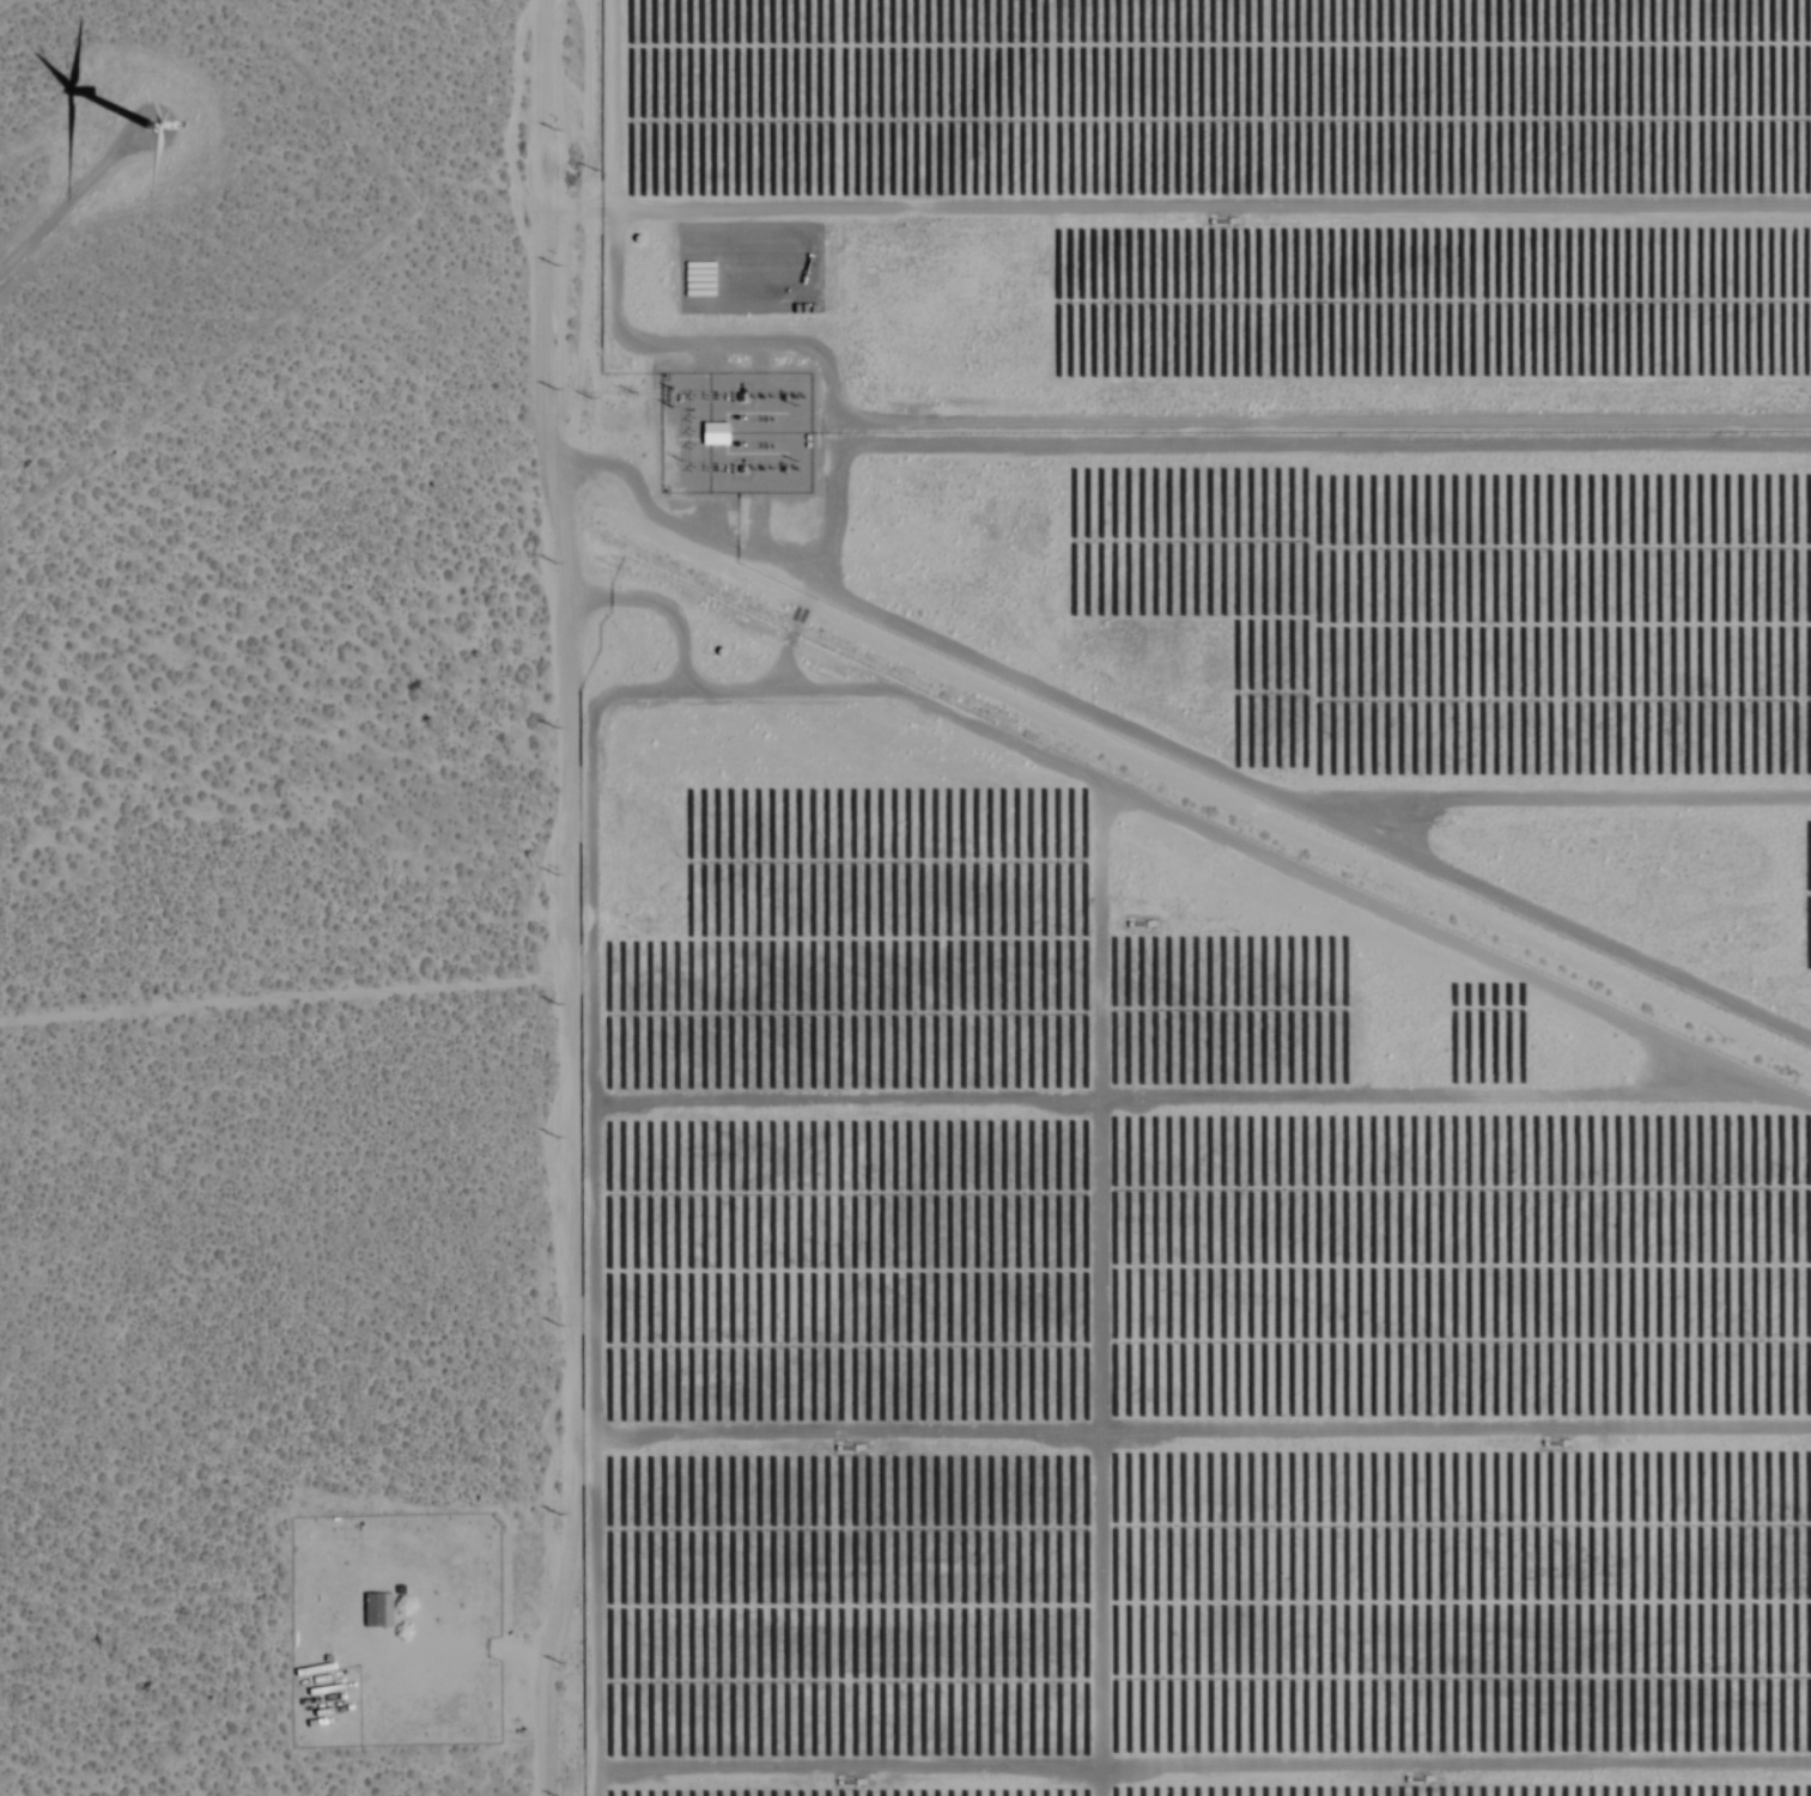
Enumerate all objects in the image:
wind turbine: (162, 134)
solar farm: (1217, 207)
road: (43, 231)
power substation: (730, 421)
solar farm: (1397, 640)
road: (564, 899)
solar farm: (1136, 1290)
building: (375, 1611)

